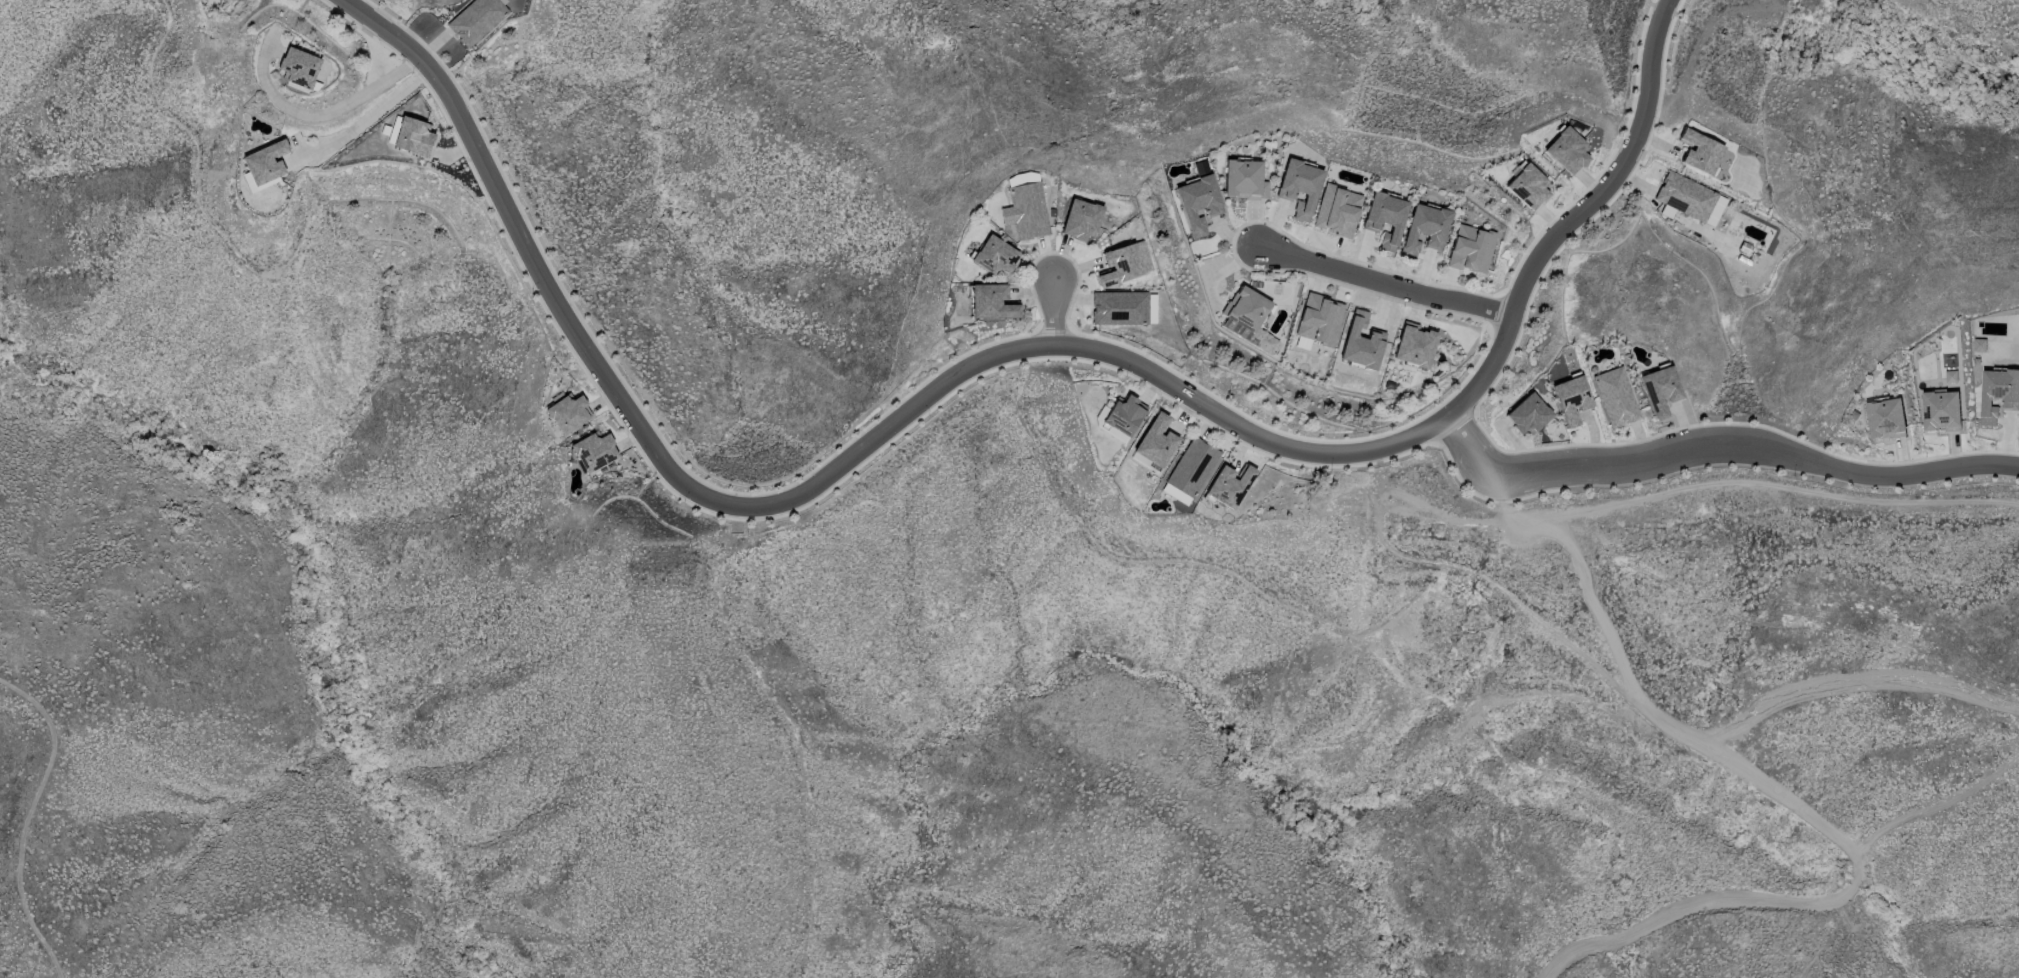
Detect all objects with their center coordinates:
building: (218, 0)
building: (475, 19)
building: (298, 67)
road: (324, 112)
road: (366, 114)
building: (412, 136)
building: (1701, 147)
building: (1567, 151)
building: (264, 162)
building: (1243, 179)
building: (1299, 186)
building: (1527, 186)
road: (201, 188)
building: (1688, 199)
building: (1197, 202)
building: (1025, 210)
building: (1337, 210)
building: (1384, 218)
building: (1080, 219)
building: (1424, 228)
building: (1470, 248)
building: (994, 255)
building: (1124, 262)
road: (1376, 278)
building: (991, 302)
building: (1119, 307)
road: (1055, 309)
building: (1249, 315)
building: (1319, 319)
building: (1360, 342)
building: (1414, 344)
building: (1979, 344)
road: (1005, 354)
building: (1950, 375)
building: (1659, 390)
building: (1998, 393)
building: (1615, 396)
building: (1571, 398)
building: (1941, 410)
building: (567, 412)
building: (1527, 413)
building: (1123, 414)
building: (1885, 418)
building: (1155, 440)
road: (1719, 444)
building: (593, 451)
road: (890, 453)
building: (1191, 466)
road: (1694, 481)
building: (1230, 485)
road: (764, 533)
road: (1182, 561)
road: (276, 629)
road: (1855, 689)
road: (789, 730)
road: (1017, 744)
road: (1759, 775)
road: (25, 820)
road: (545, 936)
road: (1818, 937)

